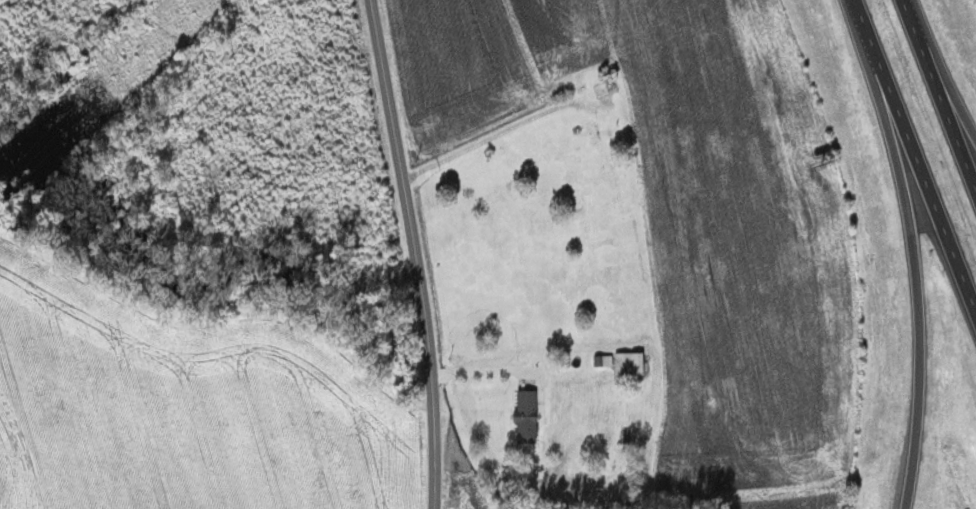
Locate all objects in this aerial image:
road: (941, 89)
building: (608, 92)
road: (957, 110)
road: (915, 152)
road: (415, 253)
road: (917, 266)
building: (605, 359)
building: (631, 364)
building: (529, 415)

